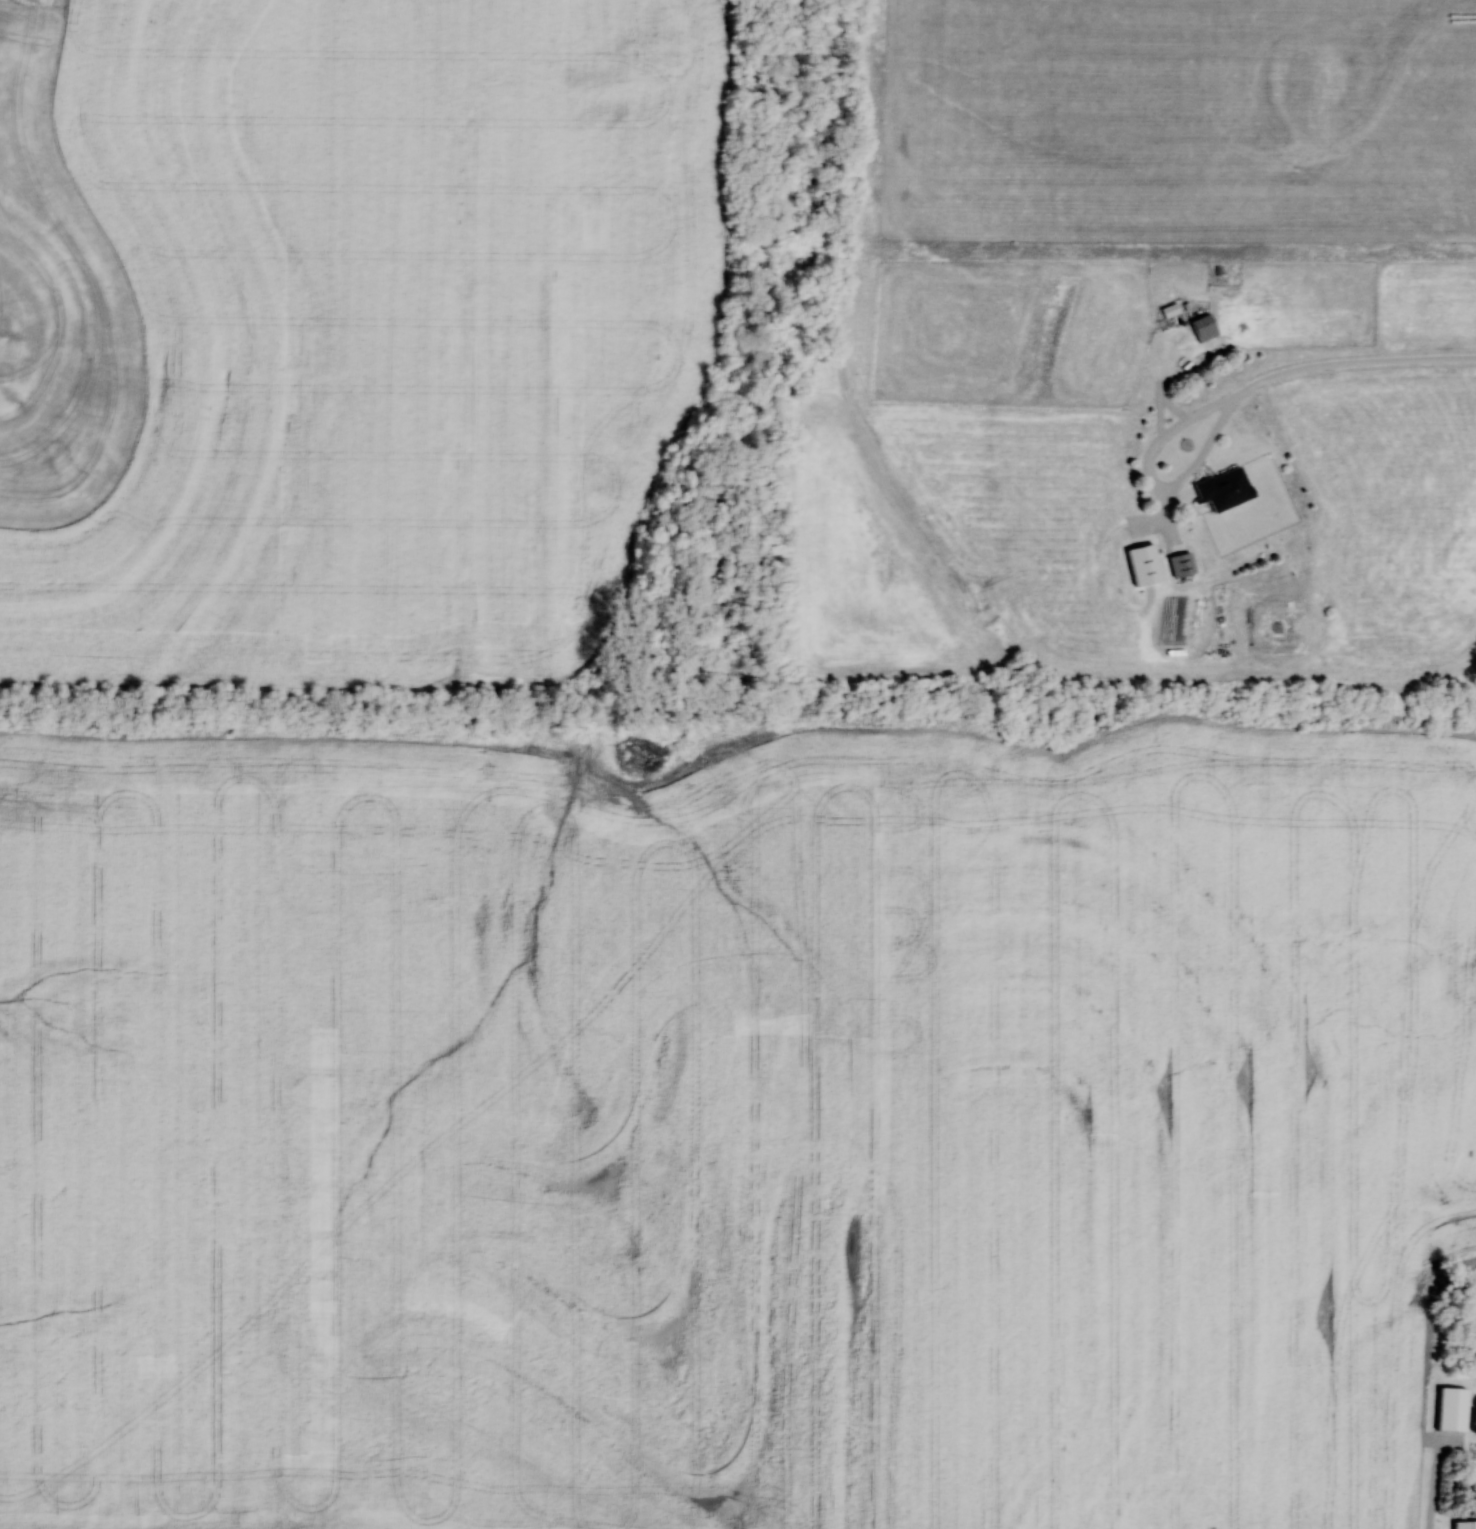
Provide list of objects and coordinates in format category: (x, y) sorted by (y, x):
building: (1204, 328)
road: (1351, 363)
road: (1155, 481)
building: (1224, 489)
building: (1174, 539)
building: (1182, 564)
building: (1453, 1409)
building: (1465, 1524)

